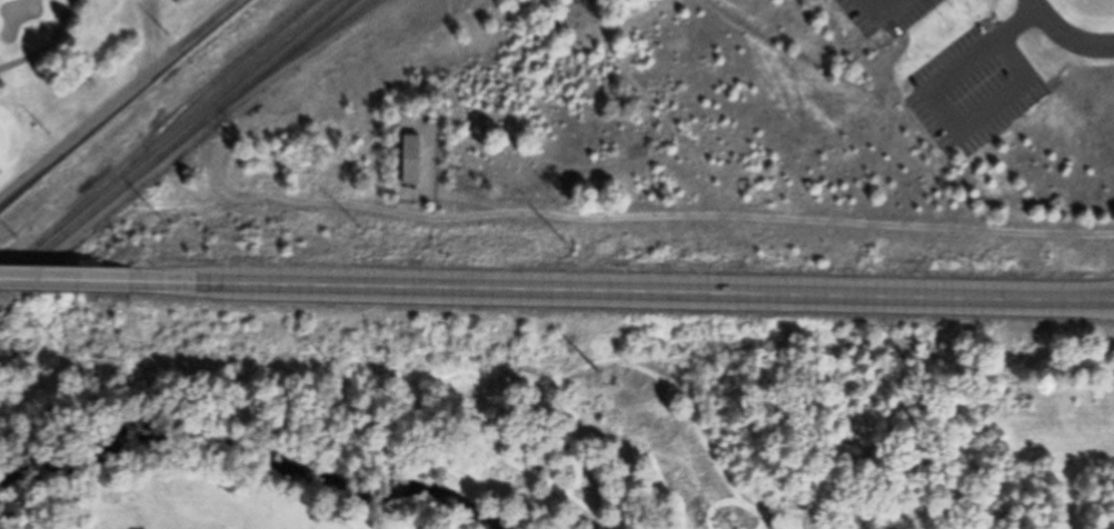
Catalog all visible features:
road: (1071, 30)
road: (47, 46)
railway: (300, 52)
park: (77, 66)
road: (126, 106)
railway: (175, 119)
railway: (169, 137)
railway: (177, 144)
building: (405, 161)
road: (59, 281)
road: (616, 292)
power tower: (603, 366)

